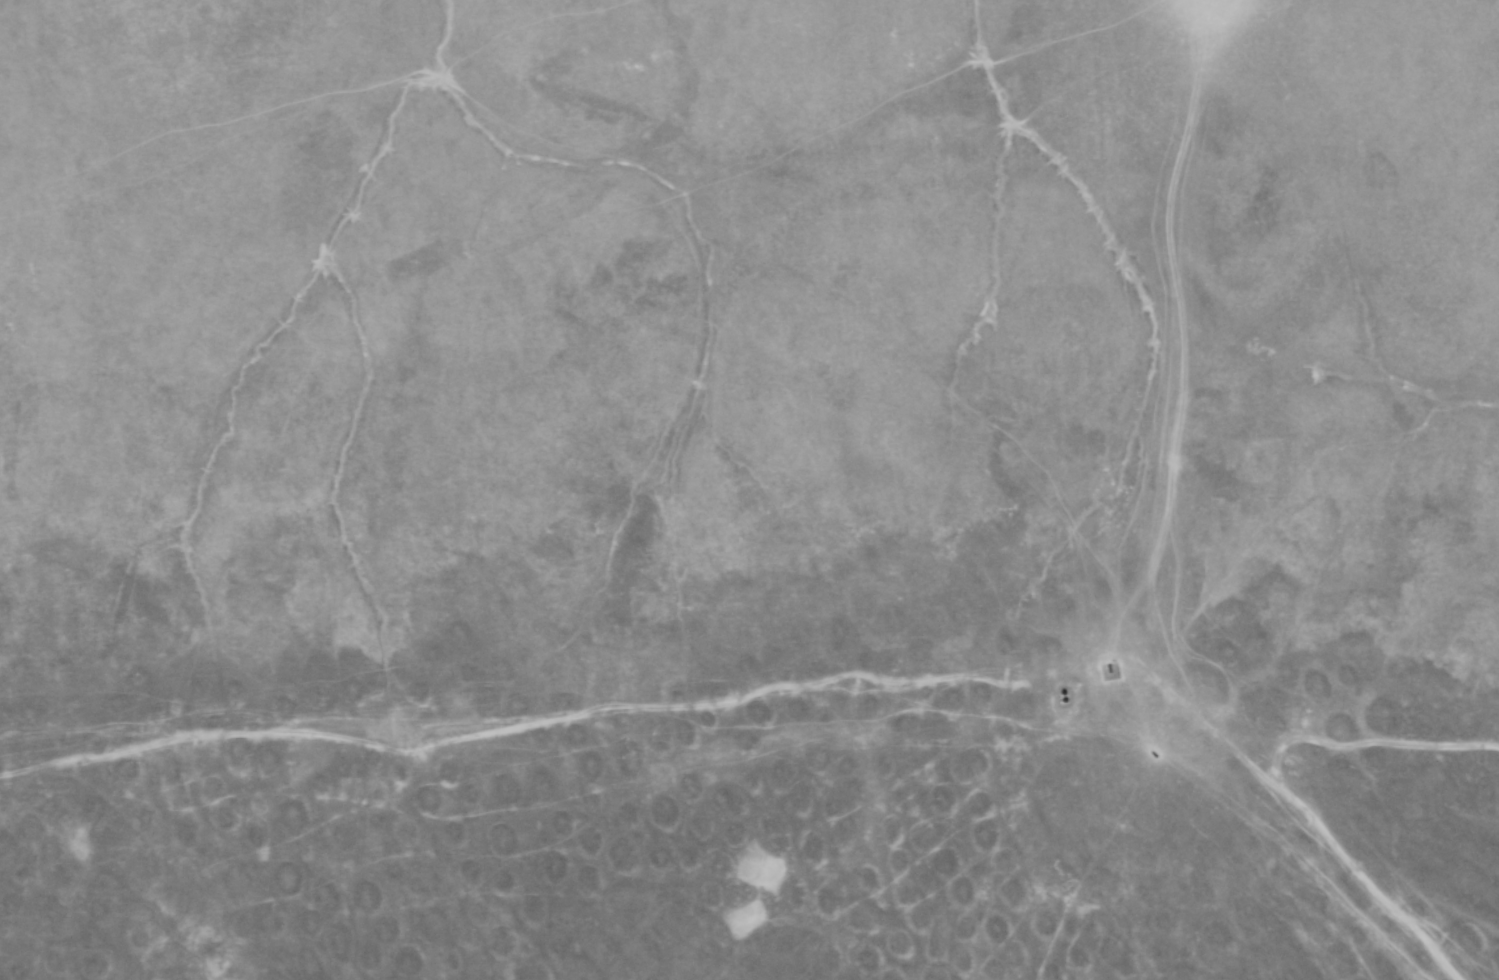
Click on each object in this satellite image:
road: (756, 697)
road: (1331, 834)

